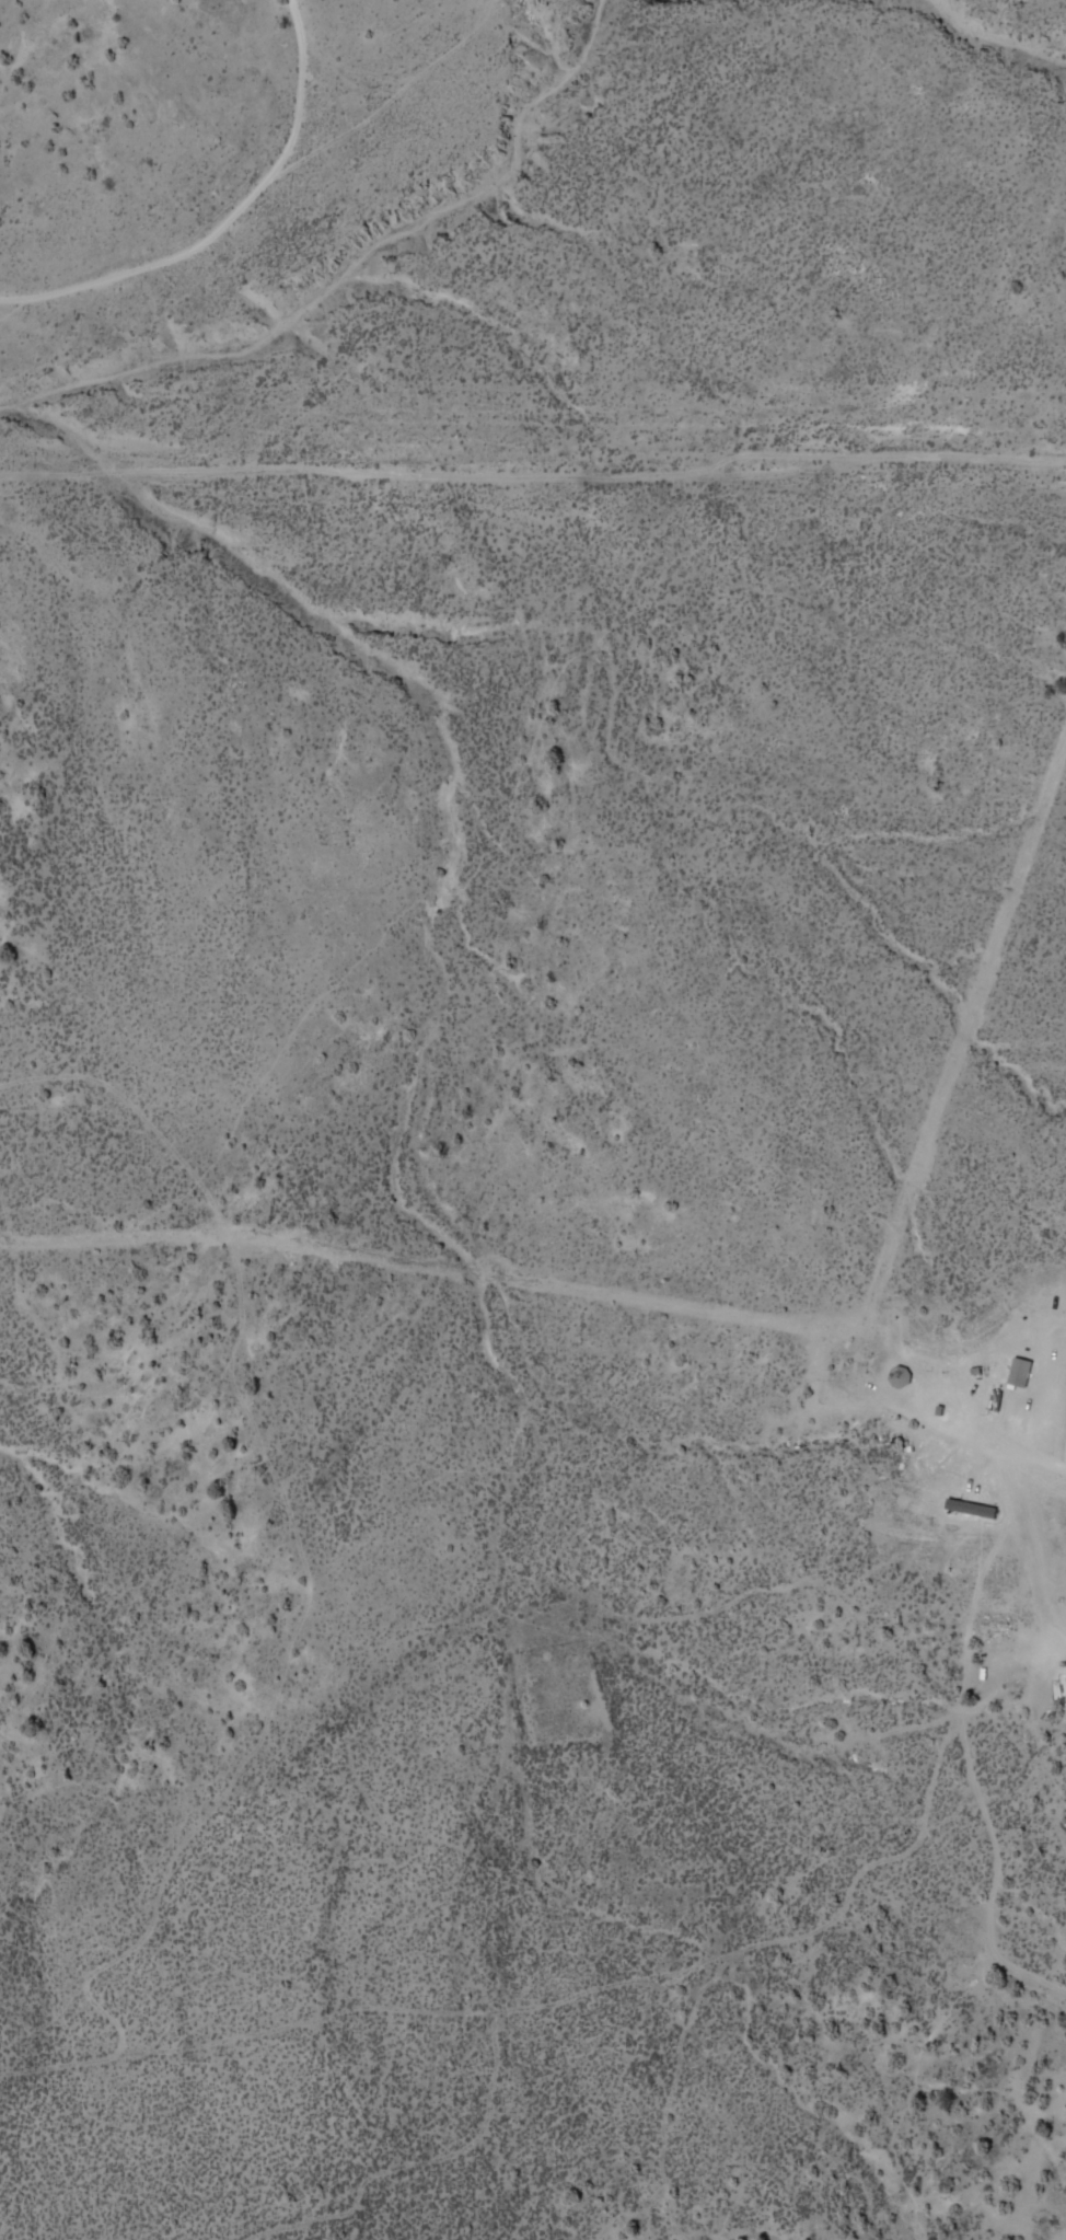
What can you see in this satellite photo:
building: (1019, 1373)
building: (947, 1415)
road: (1028, 1456)

